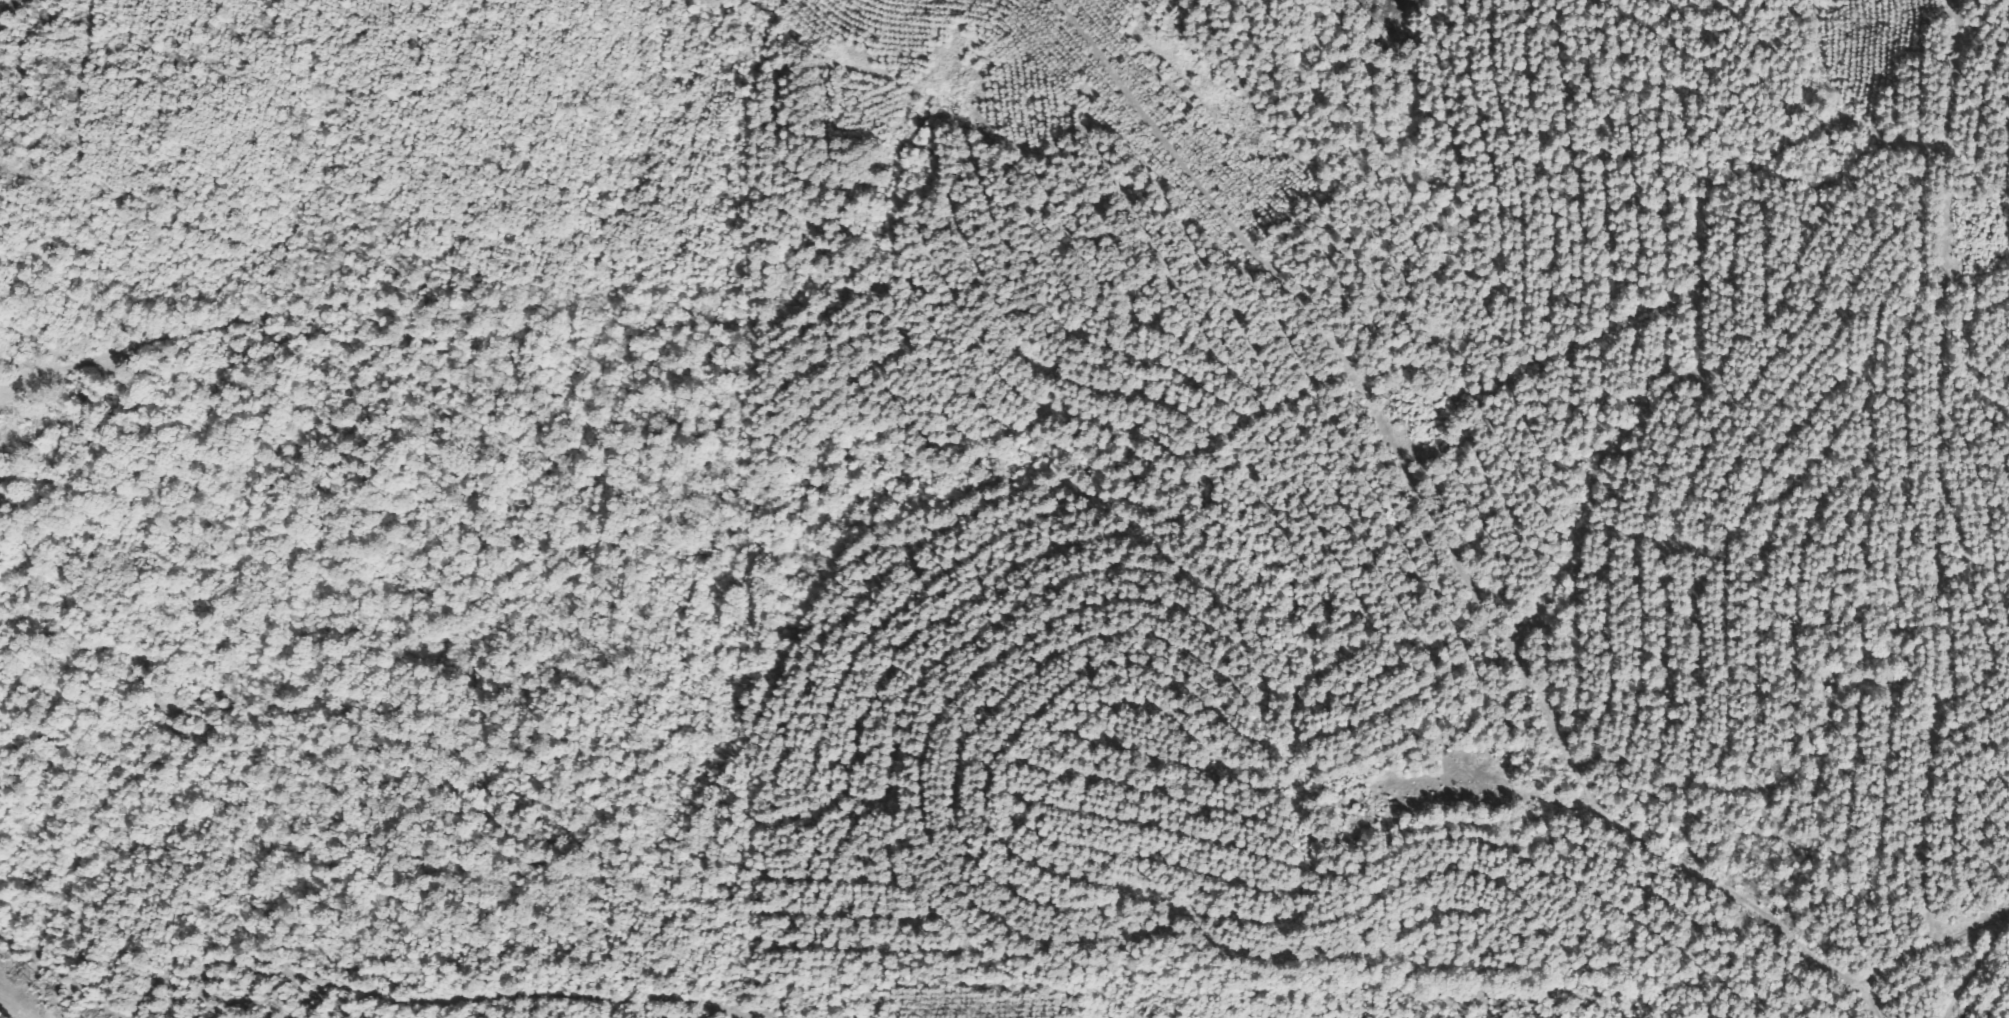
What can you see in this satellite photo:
road: (13, 10)
road: (1, 22)

